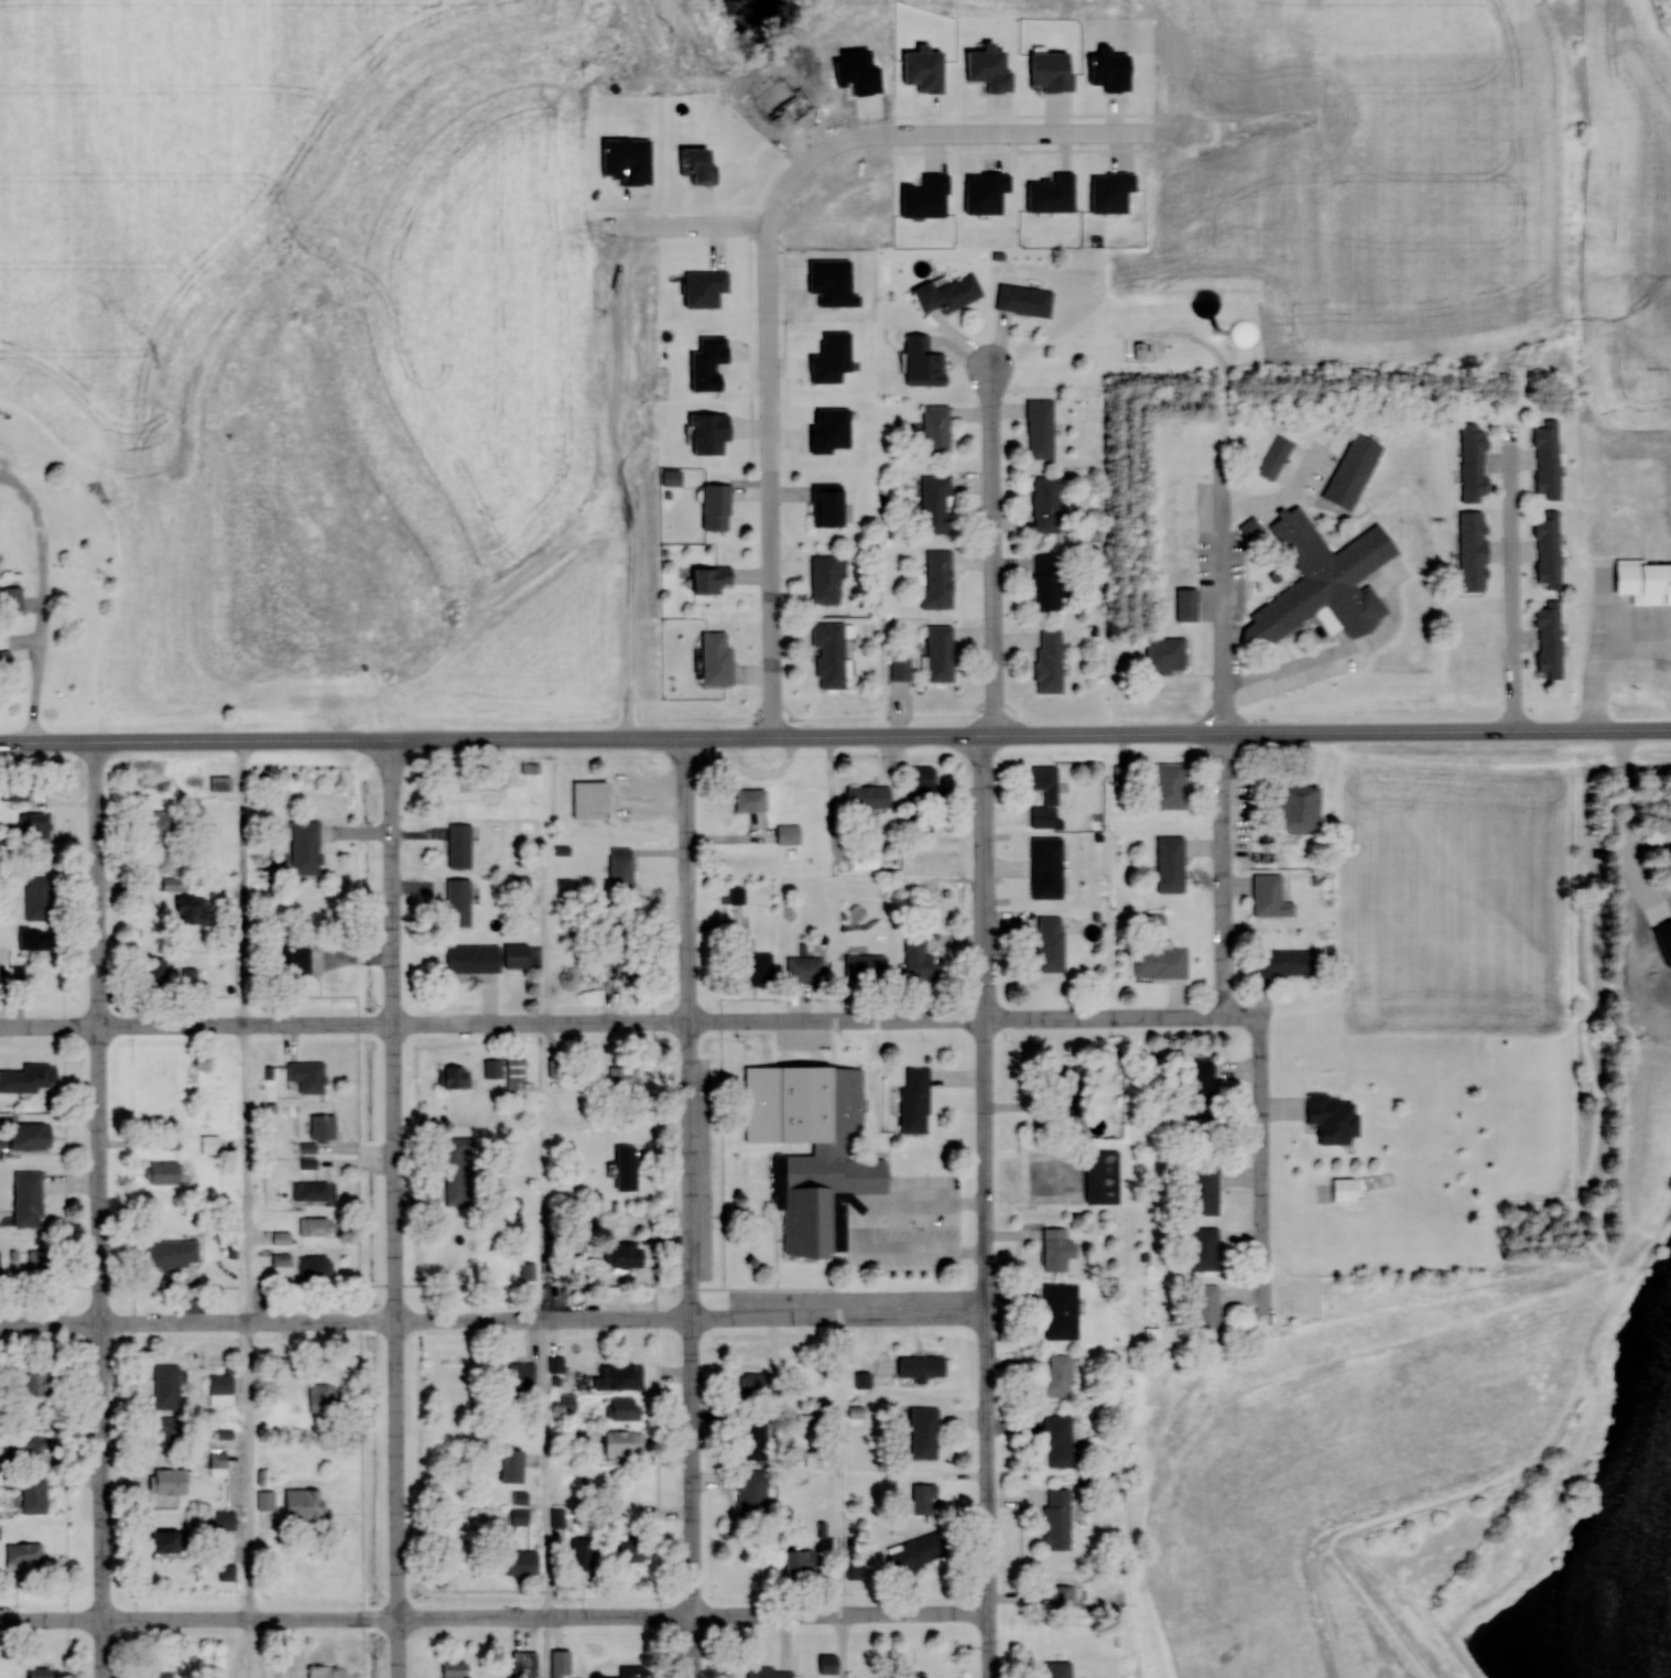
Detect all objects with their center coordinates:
road: (871, 133)
building: (948, 293)
building: (1024, 300)
water tower: (1225, 333)
building: (924, 361)
building: (1041, 429)
building: (937, 430)
building: (1277, 453)
building: (1549, 458)
building: (1354, 470)
building: (672, 477)
road: (771, 483)
road: (1223, 495)
building: (1048, 504)
building: (828, 505)
building: (937, 505)
building: (717, 507)
building: (1250, 527)
building: (1549, 550)
road: (991, 551)
building: (713, 580)
building: (826, 580)
building: (938, 580)
building: (1333, 580)
road: (1513, 580)
building: (1649, 582)
building: (1049, 583)
building: (12, 600)
building: (1187, 605)
building: (1551, 639)
building: (831, 653)
building: (941, 653)
building: (1165, 654)
building: (6, 658)
building: (717, 660)
building: (1050, 661)
building: (901, 667)
road: (885, 736)
road: (48, 743)
building: (530, 773)
building: (1121, 775)
building: (220, 783)
building: (1169, 786)
building: (923, 787)
building: (1045, 795)
building: (869, 797)
building: (473, 798)
building: (590, 800)
building: (751, 800)
building: (1299, 806)
building: (160, 824)
building: (37, 826)
building: (789, 834)
building: (460, 846)
building: (306, 847)
building: (1171, 863)
building: (1048, 867)
building: (621, 868)
building: (737, 896)
building: (1270, 897)
building: (37, 898)
building: (459, 901)
building: (192, 910)
building: (34, 938)
building: (1050, 943)
building: (517, 955)
building: (474, 957)
building: (294, 961)
building: (919, 961)
building: (1161, 961)
building: (1283, 963)
building: (866, 967)
building: (628, 968)
building: (757, 968)
building: (805, 970)
building: (156, 972)
building: (187, 978)
road: (1245, 1015)
road: (612, 1024)
building: (492, 1069)
building: (556, 1069)
building: (516, 1075)
building: (308, 1076)
building: (454, 1078)
building: (29, 1079)
building: (623, 1079)
building: (747, 1080)
building: (1200, 1086)
building: (915, 1102)
building: (1068, 1107)
building: (1335, 1118)
building: (323, 1127)
building: (26, 1138)
building: (209, 1145)
building: (822, 1154)
building: (627, 1169)
building: (457, 1170)
building: (164, 1173)
building: (1103, 1178)
building: (314, 1191)
building: (1204, 1191)
building: (28, 1200)
road: (985, 1206)
road: (688, 1208)
road: (394, 1209)
road: (99, 1210)
building: (317, 1227)
building: (1202, 1249)
building: (1057, 1251)
building: (173, 1253)
building: (625, 1256)
building: (282, 1260)
building: (40, 1263)
building: (316, 1267)
building: (1062, 1311)
building: (1208, 1311)
road: (491, 1319)
building: (557, 1364)
building: (922, 1367)
building: (519, 1374)
building: (1059, 1376)
building: (620, 1378)
building: (36, 1385)
building: (221, 1385)
building: (760, 1385)
building: (166, 1387)
building: (323, 1398)
building: (568, 1403)
building: (626, 1409)
building: (170, 1432)
building: (924, 1433)
building: (752, 1439)
building: (1059, 1441)
building: (622, 1443)
building: (33, 1444)
building: (512, 1466)
building: (169, 1482)
building: (34, 1494)
building: (752, 1494)
building: (924, 1500)
building: (267, 1501)
building: (304, 1507)
building: (520, 1516)
building: (224, 1519)
building: (1057, 1519)
building: (557, 1524)
building: (166, 1545)
building: (629, 1548)
building: (916, 1552)
building: (24, 1556)
building: (583, 1558)
building: (522, 1562)
building: (804, 1562)
building: (227, 1572)
building: (1060, 1595)
road: (493, 1620)
building: (562, 1663)
building: (828, 1664)
building: (524, 1665)
building: (1057, 1669)
building: (455, 1670)
building: (327, 1671)
building: (631, 1671)
building: (40, 1672)
building: (770, 1672)
building: (163, 1674)
building: (918, 1677)

